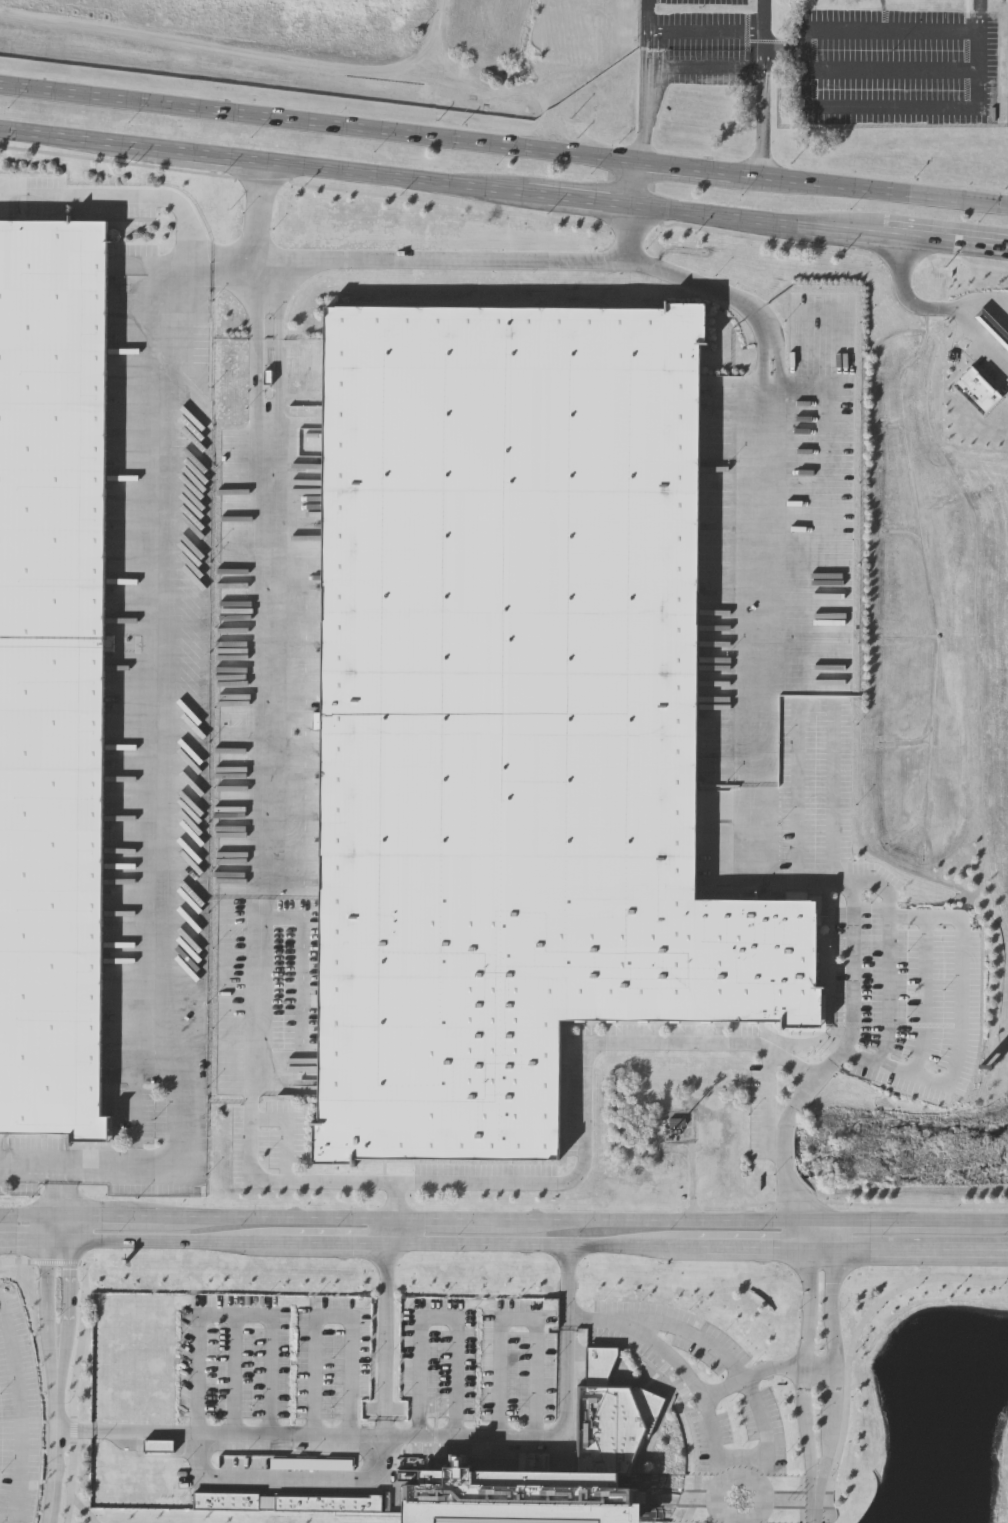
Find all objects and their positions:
road: (978, 17)
road: (708, 31)
road: (782, 53)
road: (707, 68)
road: (889, 71)
road: (648, 83)
road: (766, 89)
road: (469, 93)
road: (801, 107)
road: (503, 149)
road: (639, 187)
road: (503, 192)
road: (263, 251)
road: (474, 263)
road: (985, 309)
road: (938, 310)
building: (994, 326)
building: (978, 390)
road: (776, 525)
road: (172, 648)
building: (55, 674)
building: (514, 720)
road: (255, 811)
road: (890, 974)
road: (928, 996)
road: (968, 1006)
road: (850, 1040)
road: (136, 1093)
road: (786, 1150)
road: (29, 1158)
road: (59, 1187)
road: (29, 1216)
road: (112, 1217)
road: (281, 1217)
road: (460, 1218)
road: (672, 1220)
road: (906, 1221)
road: (999, 1221)
road: (54, 1230)
road: (65, 1230)
road: (398, 1231)
road: (815, 1234)
road: (828, 1234)
road: (24, 1242)
road: (60, 1243)
road: (176, 1243)
road: (292, 1244)
road: (351, 1244)
road: (540, 1245)
road: (694, 1247)
road: (757, 1247)
road: (822, 1247)
road: (921, 1247)
road: (392, 1263)
road: (569, 1266)
road: (49, 1300)
road: (70, 1300)
road: (568, 1300)
road: (232, 1316)
road: (331, 1318)
road: (436, 1320)
road: (514, 1321)
road: (385, 1345)
road: (819, 1358)
road: (805, 1362)
road: (833, 1363)
road: (684, 1372)
road: (237, 1375)
road: (756, 1393)
road: (19, 1412)
parking lot: (18, 1414)
building: (617, 1417)
road: (384, 1424)
road: (74, 1429)
road: (237, 1434)
road: (537, 1439)
road: (57, 1440)
building: (318, 1464)
road: (282, 1478)
road: (815, 1499)
building: (289, 1503)
road: (813, 1522)

